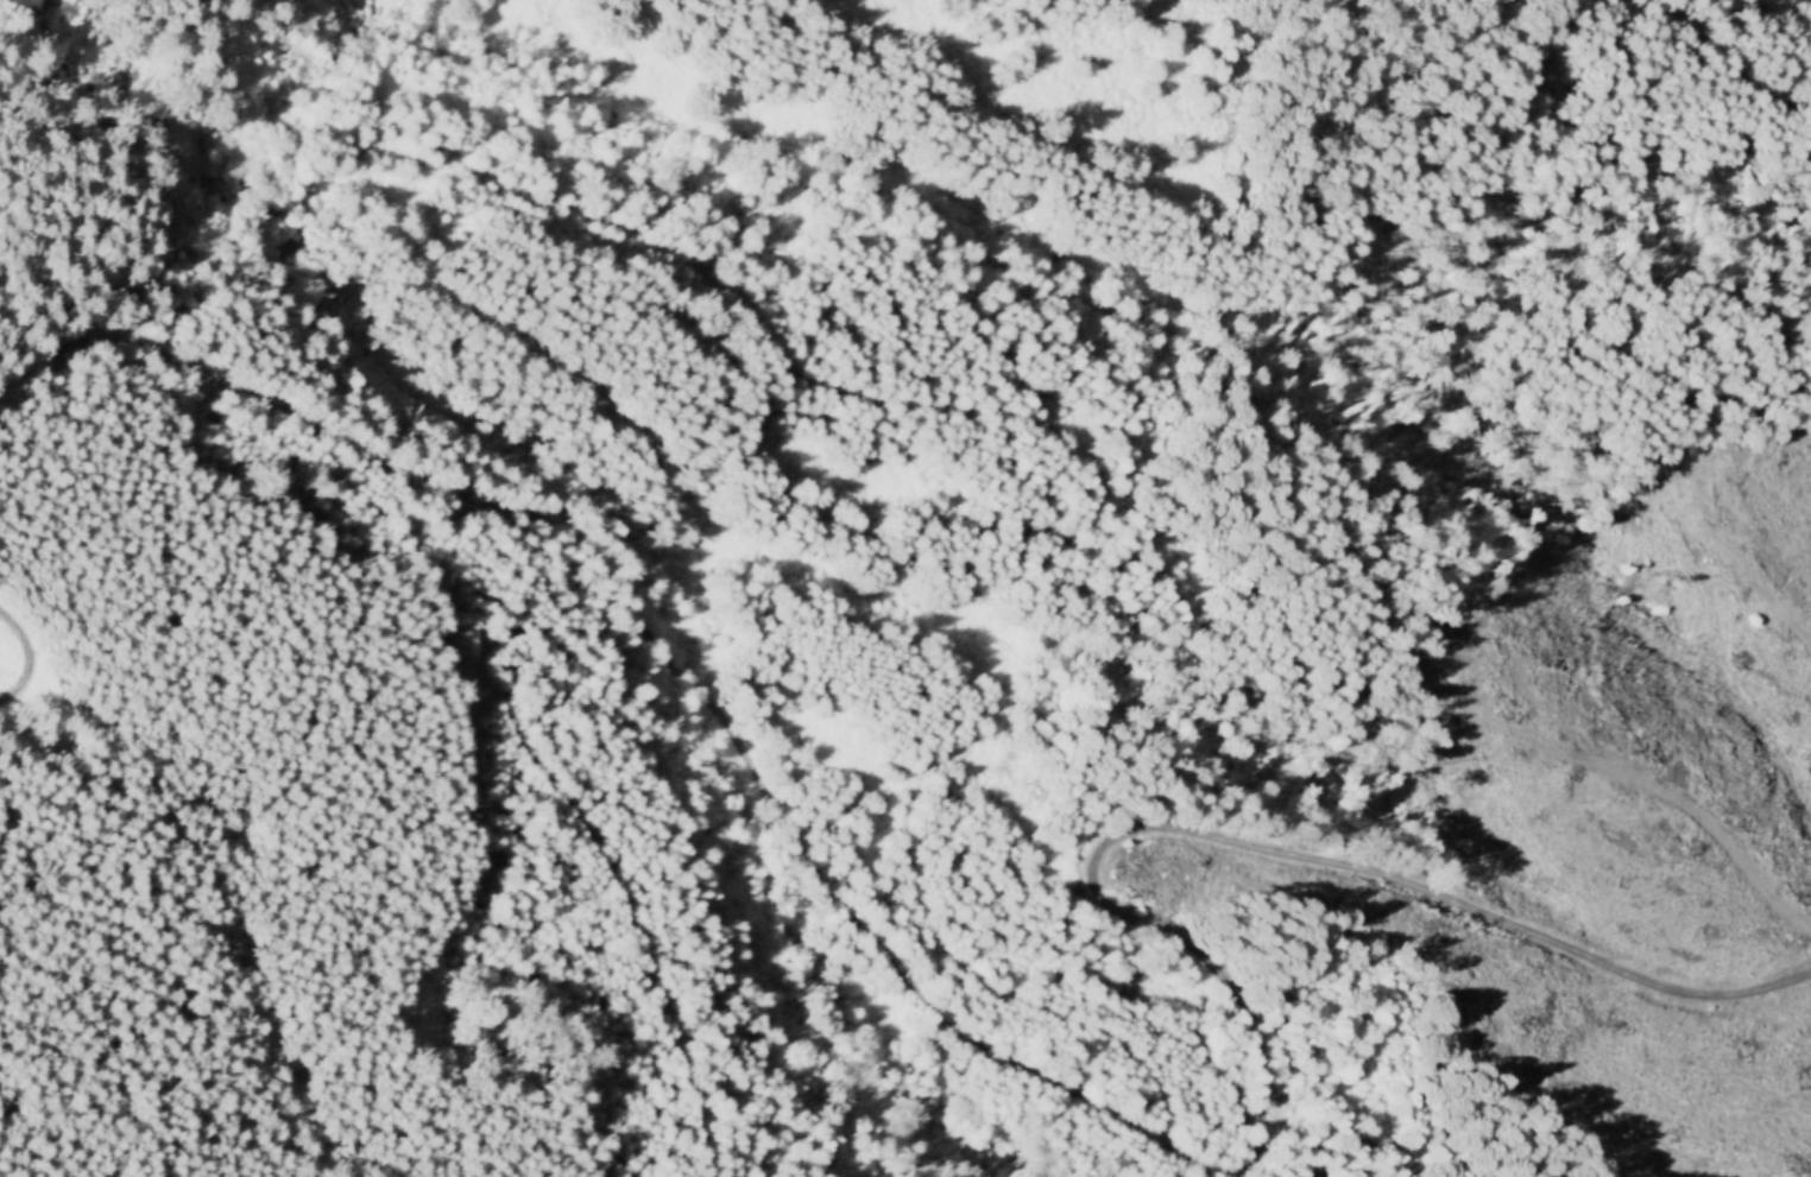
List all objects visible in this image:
road: (865, 1040)

